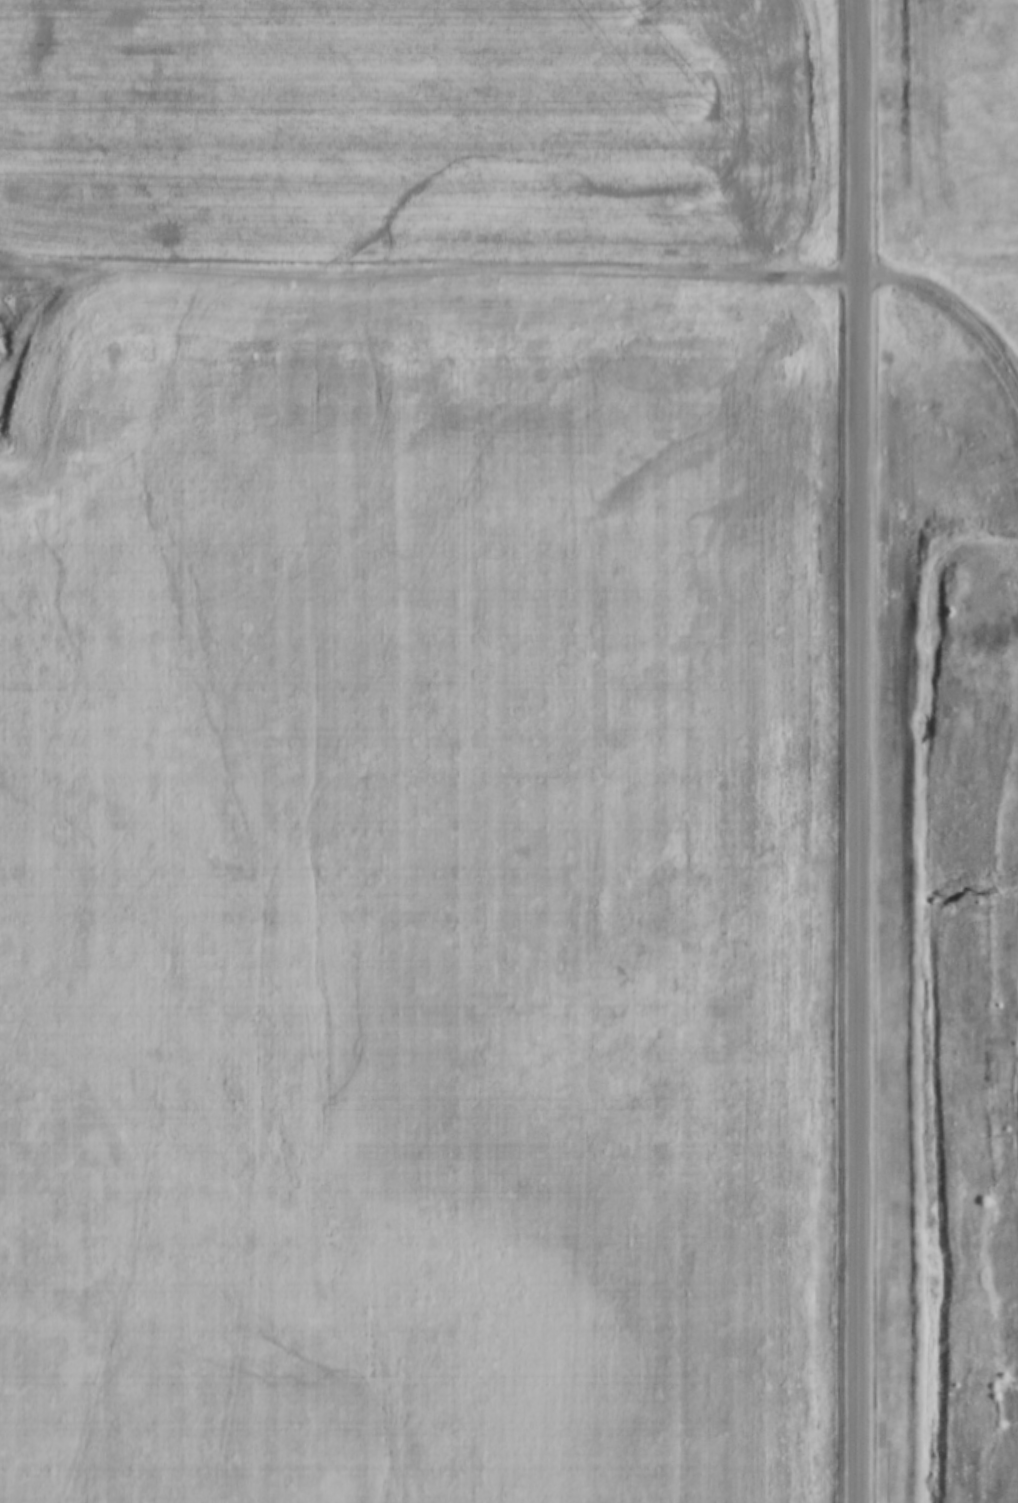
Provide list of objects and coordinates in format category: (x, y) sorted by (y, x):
road: (429, 270)
road: (952, 301)
road: (857, 751)
quarry: (967, 1007)
road: (982, 1102)

